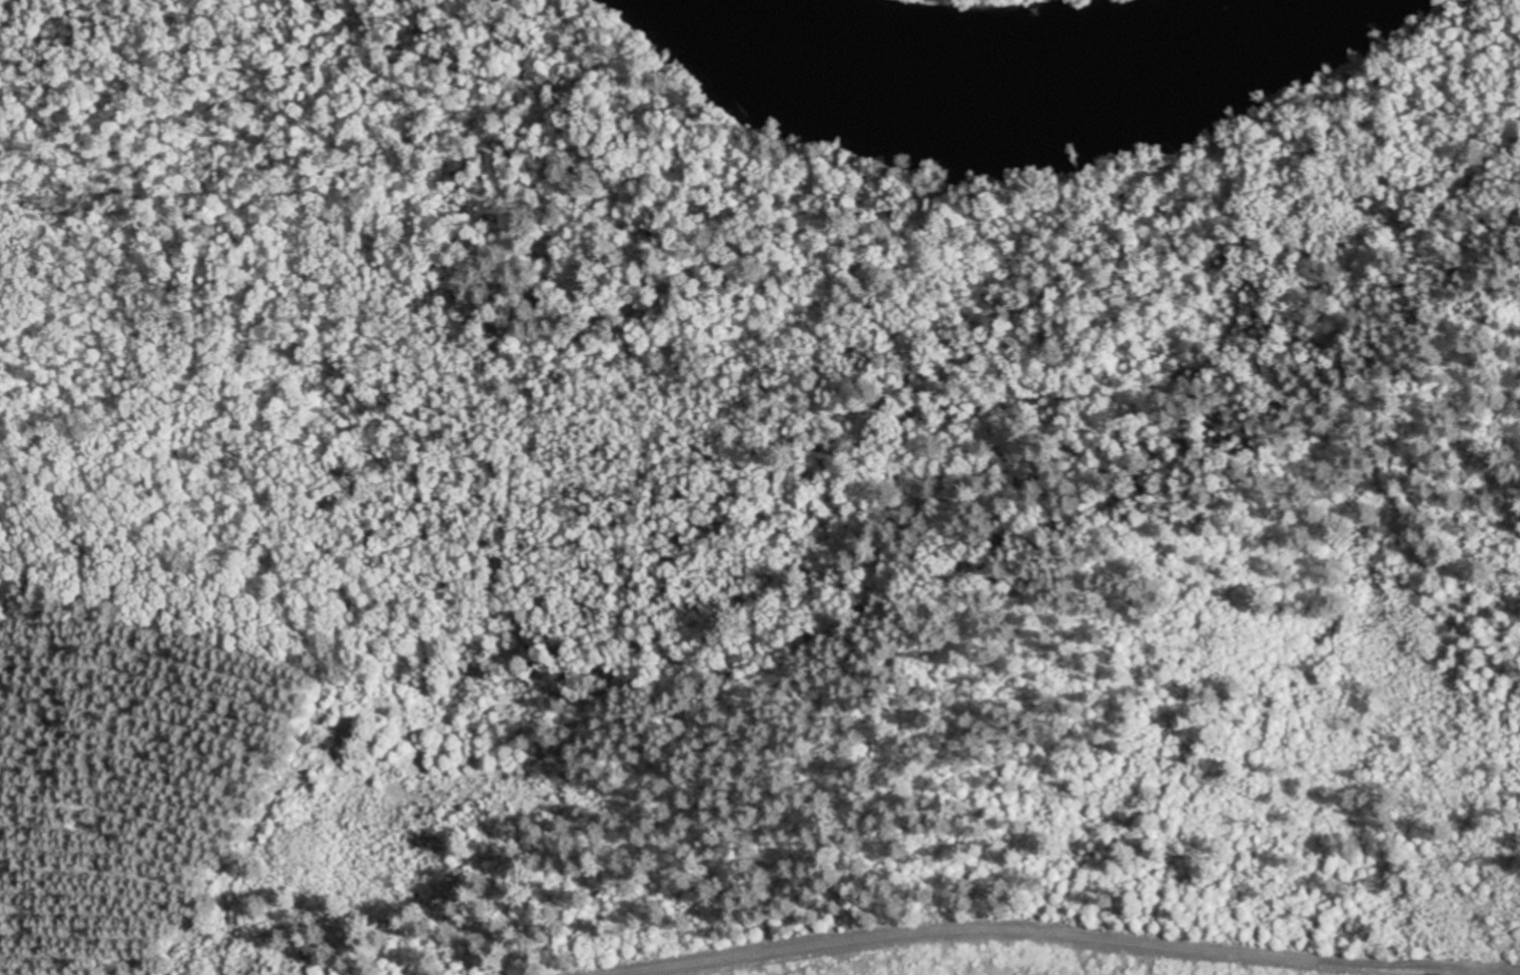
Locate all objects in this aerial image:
river: (993, 78)
road: (1065, 936)

